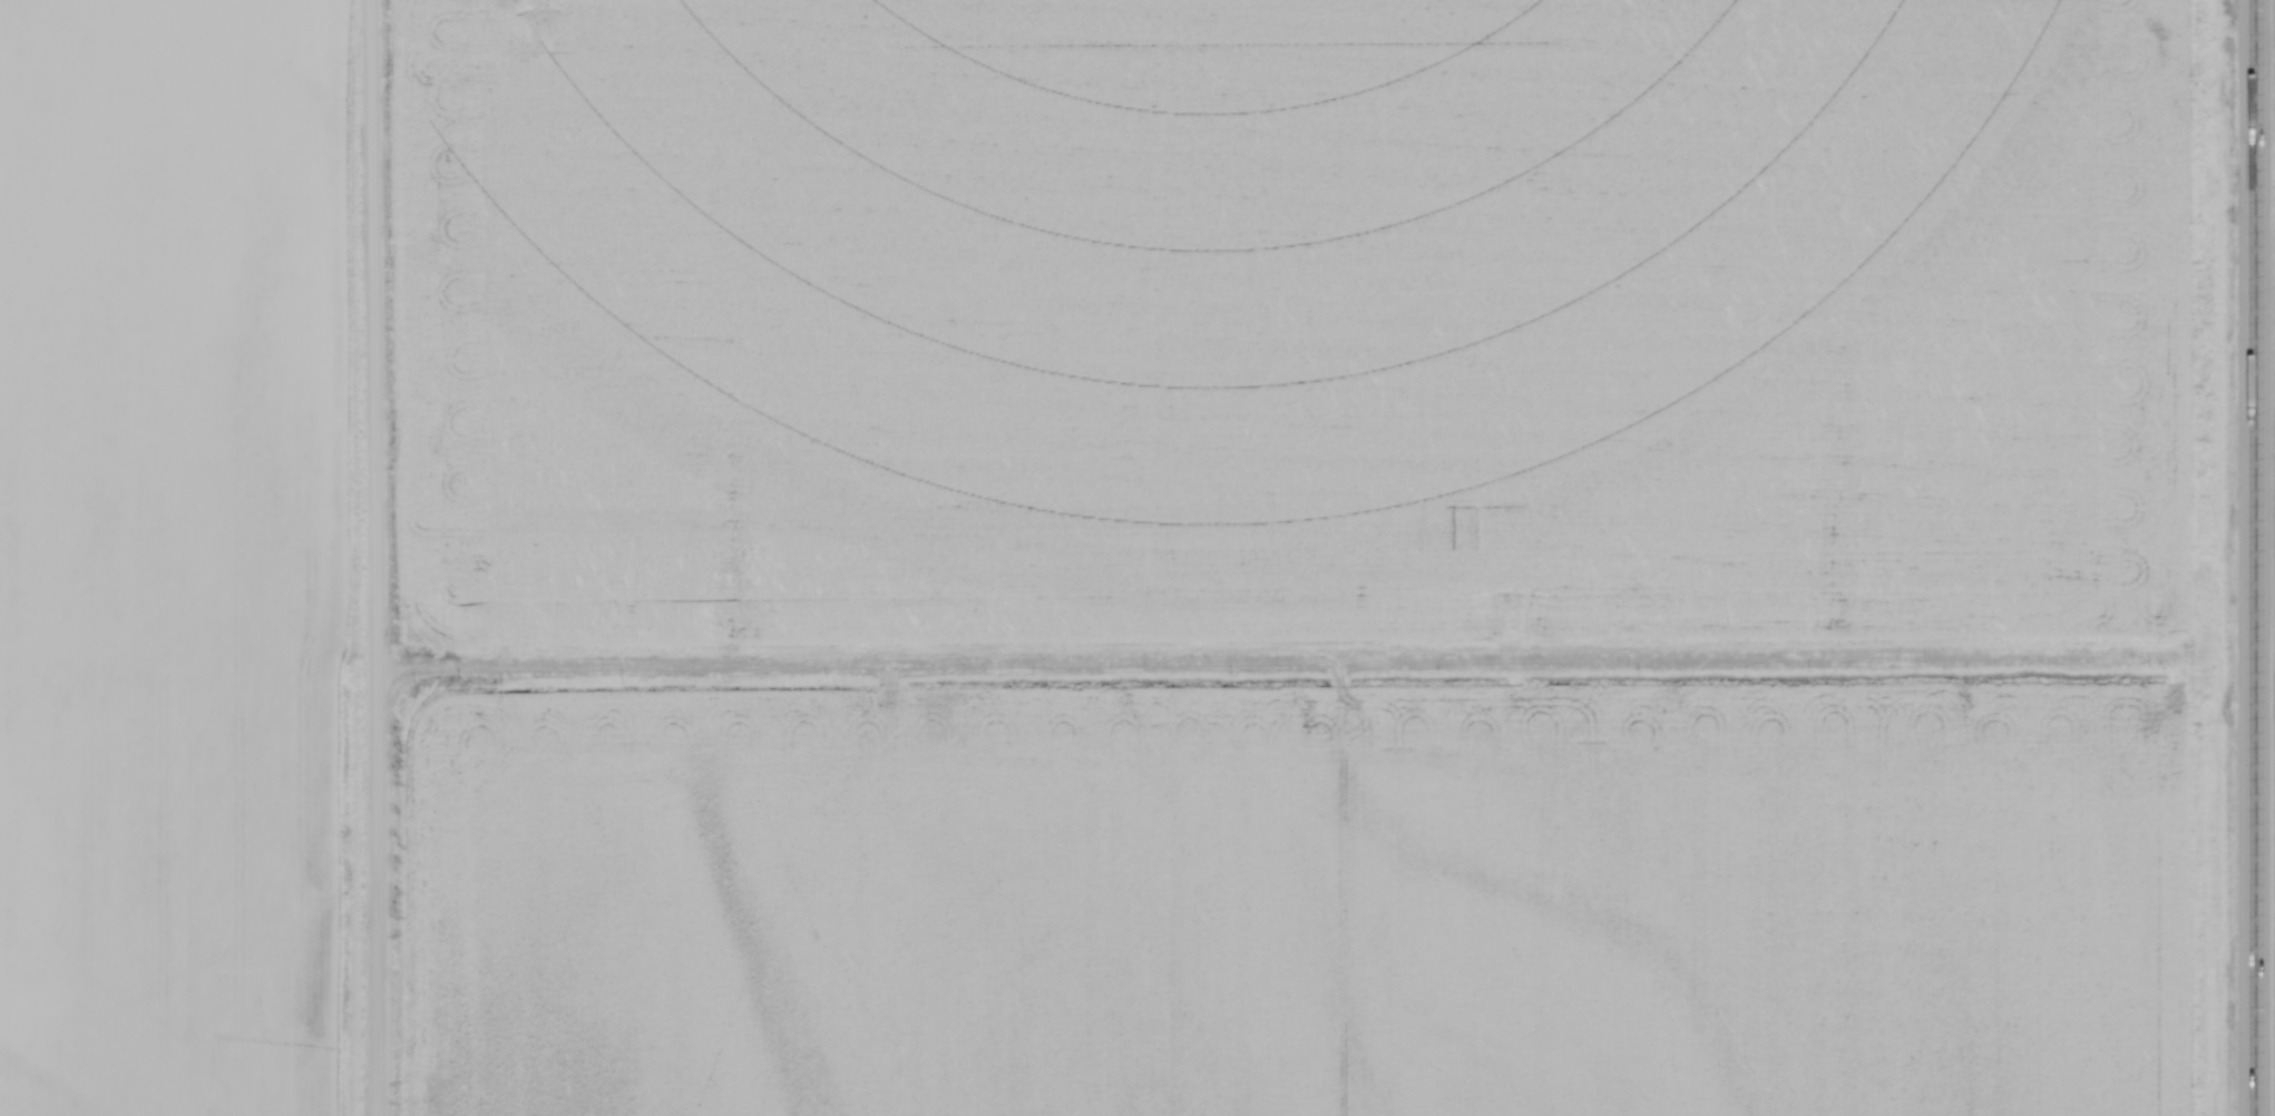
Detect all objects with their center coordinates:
road: (375, 557)
crop: (1277, 557)
road: (2257, 557)

